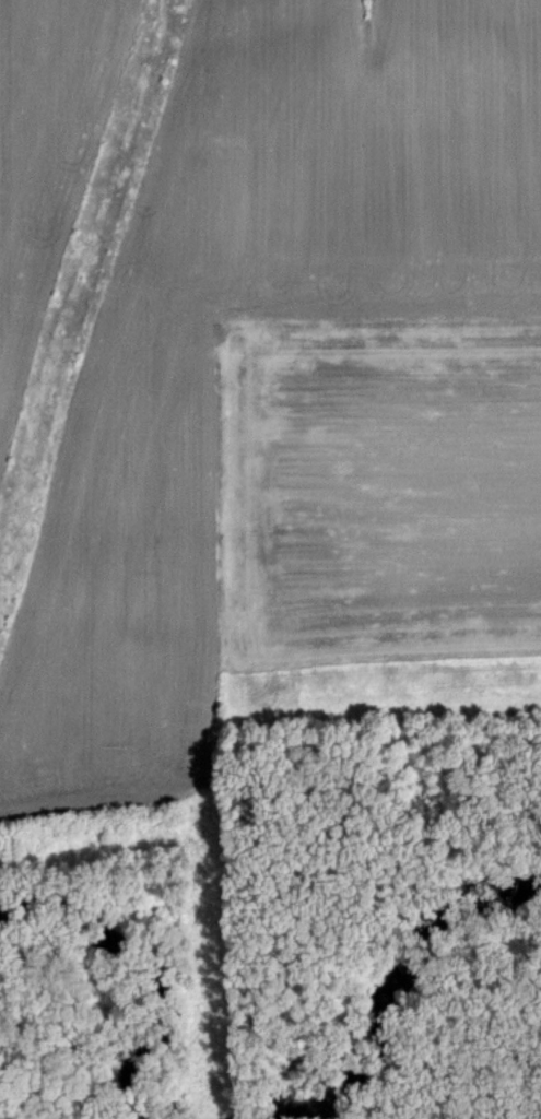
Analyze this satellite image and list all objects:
crop: (47, 160)
crop: (295, 390)

